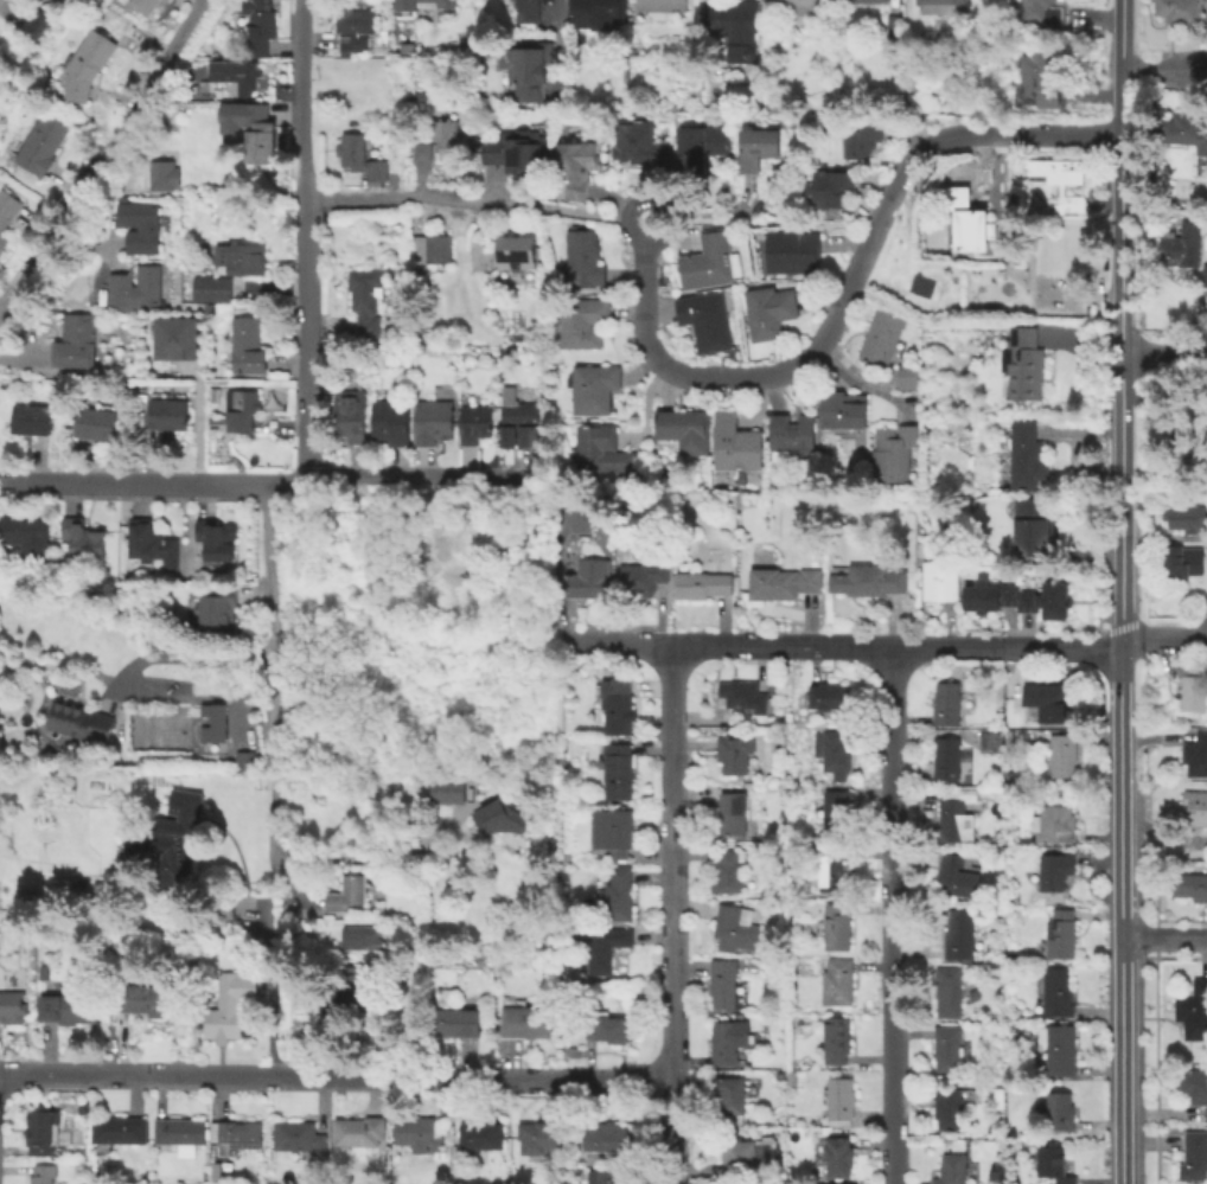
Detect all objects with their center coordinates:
building: (866, 0)
building: (90, 2)
building: (142, 5)
building: (796, 5)
building: (940, 6)
building: (660, 7)
building: (404, 11)
building: (1179, 11)
building: (526, 12)
building: (1037, 12)
building: (596, 14)
building: (36, 23)
building: (258, 25)
building: (893, 25)
building: (355, 26)
building: (734, 30)
road: (1118, 36)
road: (556, 46)
building: (404, 49)
building: (87, 64)
building: (6, 65)
building: (528, 70)
road: (179, 71)
building: (235, 72)
road: (1163, 72)
building: (1036, 76)
building: (773, 107)
building: (1182, 129)
building: (861, 135)
building: (261, 137)
building: (43, 142)
building: (453, 142)
building: (700, 142)
building: (640, 143)
building: (756, 147)
road: (110, 148)
building: (423, 153)
building: (516, 154)
building: (360, 155)
building: (577, 165)
road: (998, 166)
building: (162, 174)
building: (1060, 179)
building: (830, 187)
road: (409, 197)
road: (654, 200)
road: (1104, 200)
road: (722, 210)
road: (571, 211)
building: (7, 212)
building: (969, 219)
road: (774, 220)
building: (142, 224)
road: (304, 241)
building: (430, 247)
building: (1184, 248)
building: (512, 251)
building: (792, 251)
road: (1005, 257)
building: (240, 258)
building: (583, 258)
building: (710, 262)
building: (138, 287)
building: (213, 288)
road: (847, 292)
building: (368, 299)
road: (9, 309)
building: (768, 311)
building: (705, 319)
building: (583, 321)
building: (882, 335)
building: (78, 339)
building: (179, 339)
building: (245, 345)
road: (1163, 354)
building: (1021, 363)
building: (907, 376)
road: (862, 380)
building: (594, 388)
building: (238, 409)
building: (346, 409)
road: (644, 409)
building: (844, 410)
building: (167, 412)
building: (1200, 414)
building: (32, 418)
building: (391, 420)
building: (433, 421)
building: (96, 422)
building: (474, 422)
building: (521, 423)
building: (684, 429)
road: (197, 433)
building: (794, 435)
building: (736, 442)
building: (602, 449)
building: (895, 454)
building: (1027, 456)
road: (395, 476)
road: (134, 484)
road: (1118, 505)
building: (1182, 517)
building: (1032, 525)
road: (377, 526)
building: (26, 533)
building: (483, 533)
building: (83, 537)
building: (217, 538)
building: (149, 543)
building: (1206, 558)
building: (442, 561)
building: (1171, 562)
building: (641, 577)
building: (588, 578)
building: (869, 580)
building: (940, 580)
building: (783, 582)
building: (702, 584)
road: (1097, 594)
building: (979, 595)
building: (1037, 599)
building: (219, 615)
road: (1101, 617)
road: (1120, 626)
road: (1099, 629)
road: (1162, 639)
road: (760, 644)
road: (1041, 647)
road: (175, 654)
road: (273, 677)
building: (1190, 686)
building: (746, 696)
building: (825, 696)
road: (192, 698)
building: (947, 702)
building: (1046, 702)
building: (615, 705)
building: (81, 721)
building: (211, 722)
park: (174, 729)
building: (734, 751)
building: (834, 751)
building: (1062, 753)
building: (1195, 753)
building: (947, 757)
building: (242, 759)
building: (619, 769)
building: (448, 788)
building: (1194, 805)
building: (836, 809)
building: (733, 812)
building: (502, 814)
building: (956, 815)
building: (1054, 823)
building: (613, 831)
building: (178, 833)
road: (373, 851)
building: (832, 868)
building: (728, 870)
building: (1055, 870)
building: (956, 877)
road: (290, 881)
road: (272, 882)
building: (1189, 884)
building: (349, 890)
building: (618, 895)
building: (223, 908)
road: (1155, 909)
road: (672, 914)
road: (894, 914)
road: (1181, 920)
building: (837, 926)
building: (735, 927)
building: (1061, 933)
building: (959, 934)
building: (362, 936)
road: (1164, 936)
road: (1155, 939)
building: (606, 947)
road: (1155, 954)
road: (1174, 956)
building: (43, 969)
building: (723, 981)
building: (837, 981)
road: (272, 985)
building: (349, 988)
building: (949, 991)
building: (1055, 993)
building: (141, 998)
building: (71, 1001)
building: (226, 1005)
building: (11, 1006)
building: (1192, 1010)
building: (526, 1020)
building: (456, 1022)
building: (609, 1029)
building: (724, 1039)
building: (836, 1039)
building: (949, 1047)
building: (1059, 1050)
road: (1123, 1061)
road: (1155, 1070)
road: (337, 1074)
building: (791, 1076)
building: (1192, 1086)
building: (730, 1093)
building: (839, 1100)
building: (949, 1107)
building: (1060, 1111)
building: (119, 1128)
building: (39, 1129)
building: (359, 1129)
building: (180, 1133)
building: (234, 1133)
building: (422, 1133)
building: (483, 1133)
building: (538, 1135)
building: (299, 1138)
building: (606, 1139)
building: (1016, 1143)
building: (1193, 1154)
building: (745, 1157)
building: (839, 1157)
building: (1054, 1164)
building: (954, 1169)
building: (213, 1172)
building: (43, 1173)
building: (203, 1175)
building: (609, 1176)

